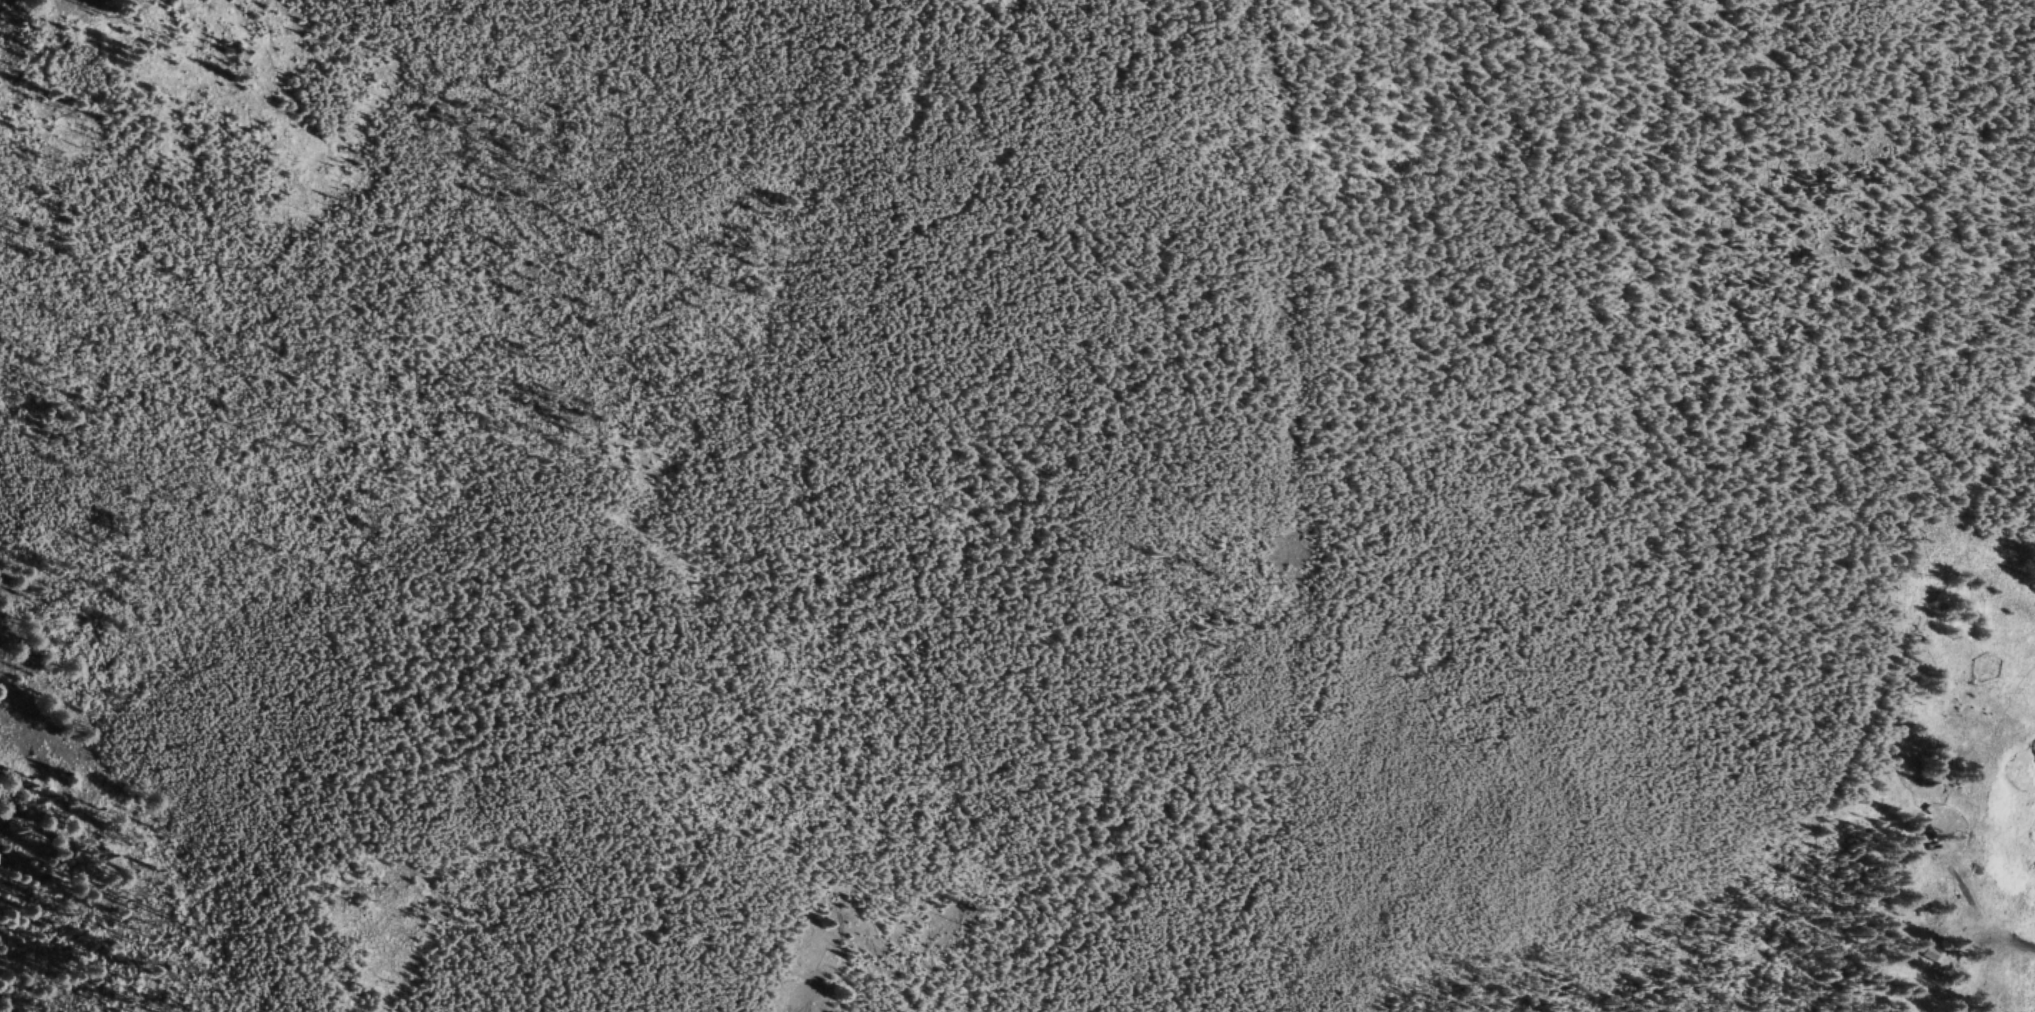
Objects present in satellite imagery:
road: (1981, 925)
building: (1930, 954)

